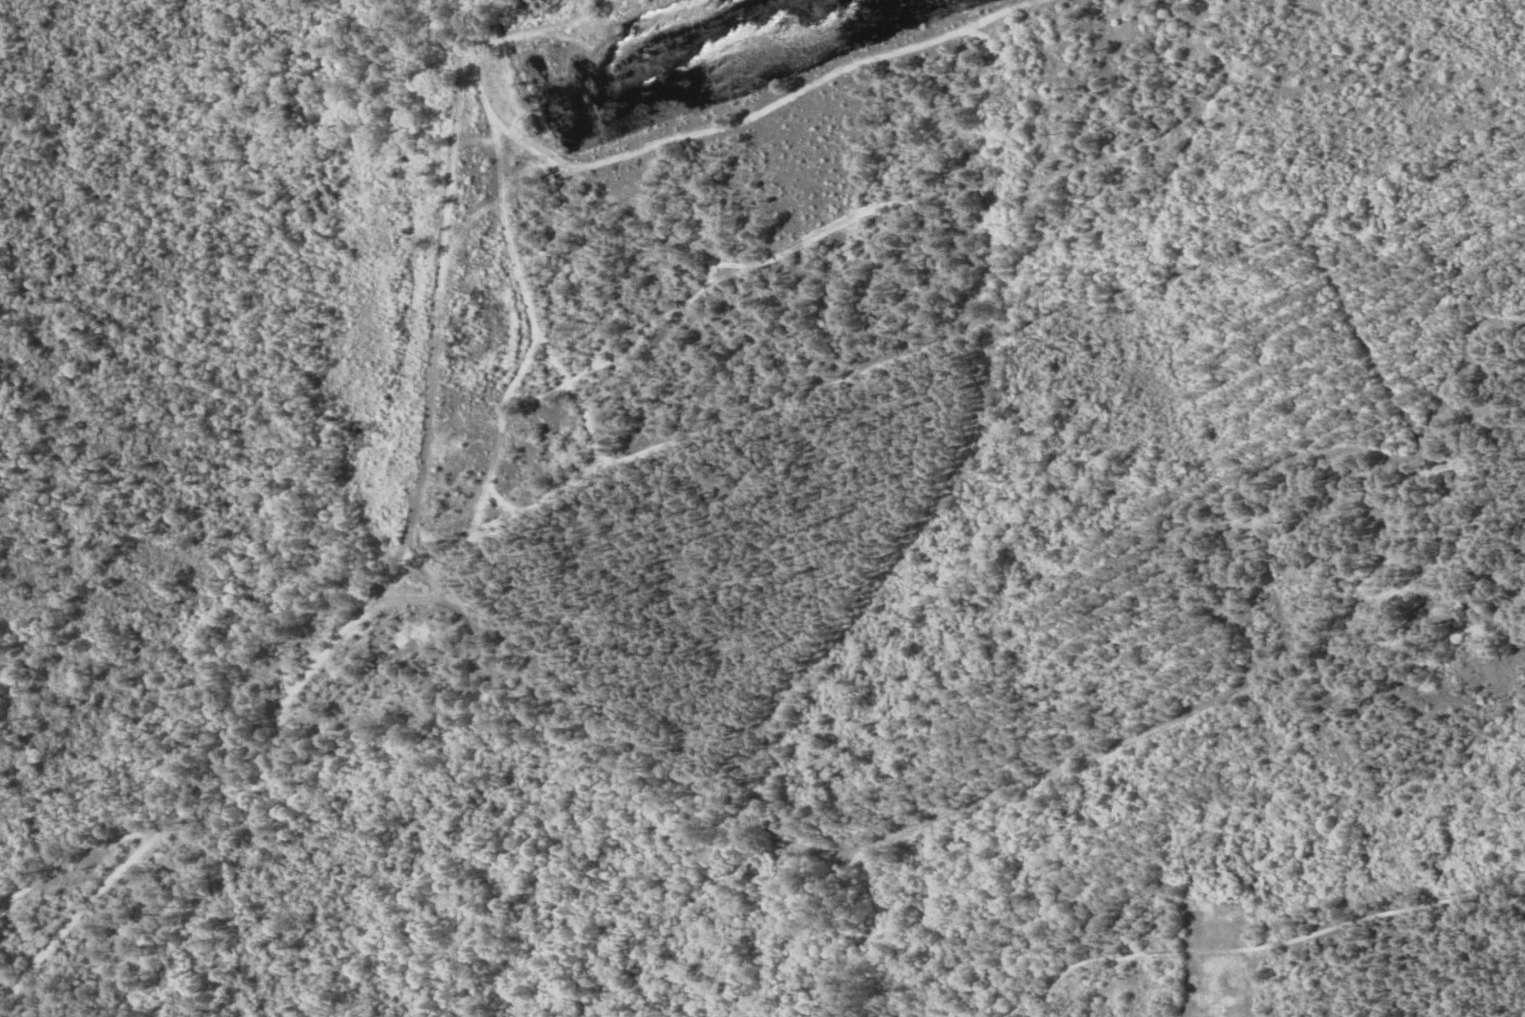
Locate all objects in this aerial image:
road: (427, 555)
road: (1268, 943)

